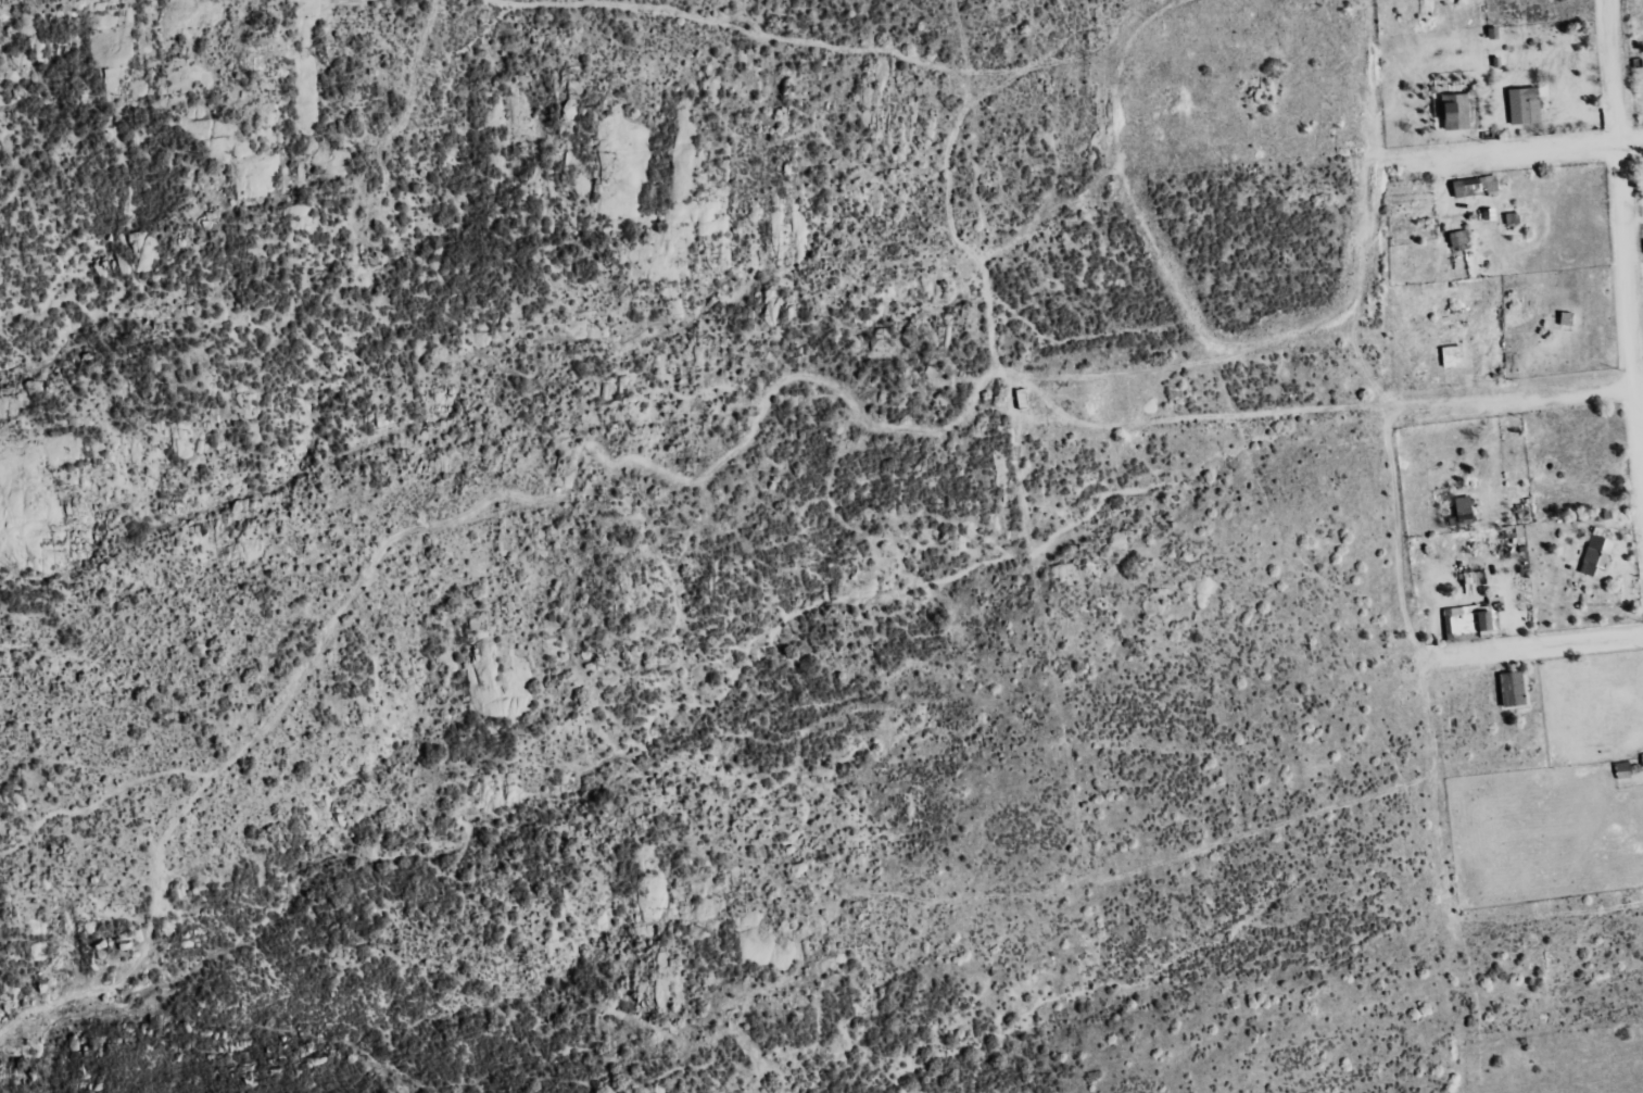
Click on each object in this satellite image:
building: (1526, 105)
building: (1457, 112)
road: (1515, 150)
building: (1476, 186)
building: (1512, 218)
road: (1623, 238)
road: (1356, 278)
road: (1513, 393)
road: (1230, 416)
road: (1393, 535)
road: (1533, 646)

